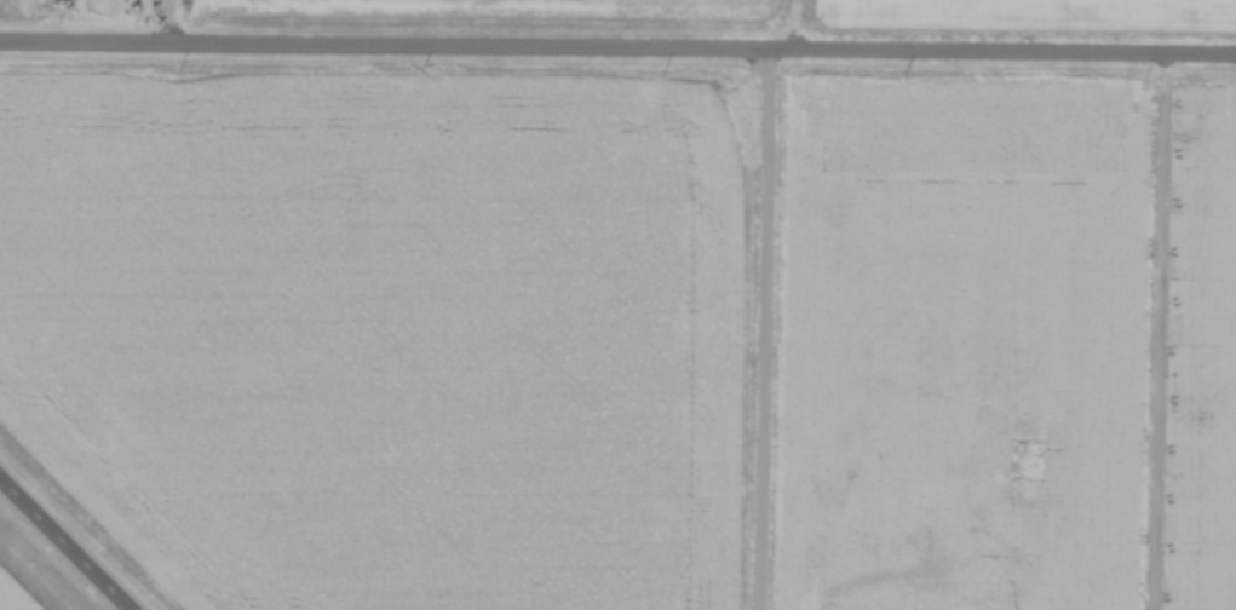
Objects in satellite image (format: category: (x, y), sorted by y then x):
road: (169, 23)
road: (617, 50)
road: (763, 330)
building: (924, 489)
road: (65, 542)
building: (884, 600)

